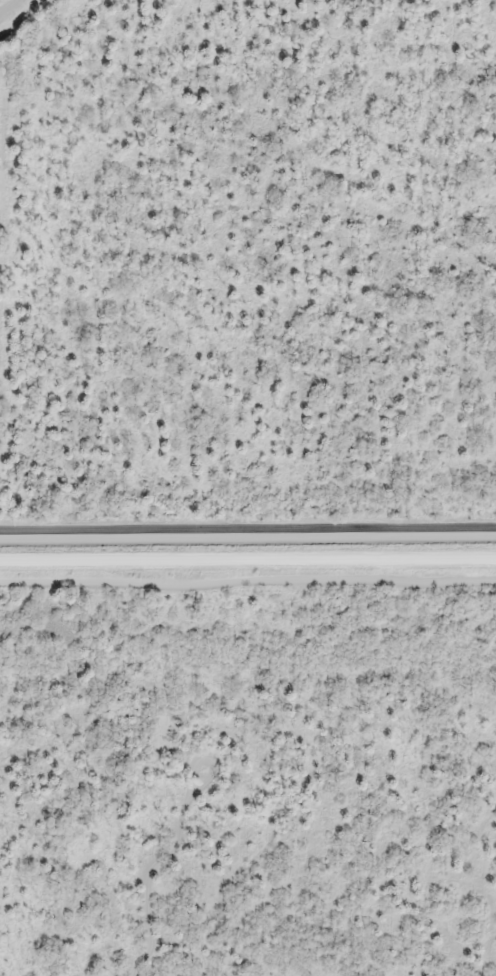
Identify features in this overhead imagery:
road: (248, 564)
road: (211, 761)
road: (151, 880)

